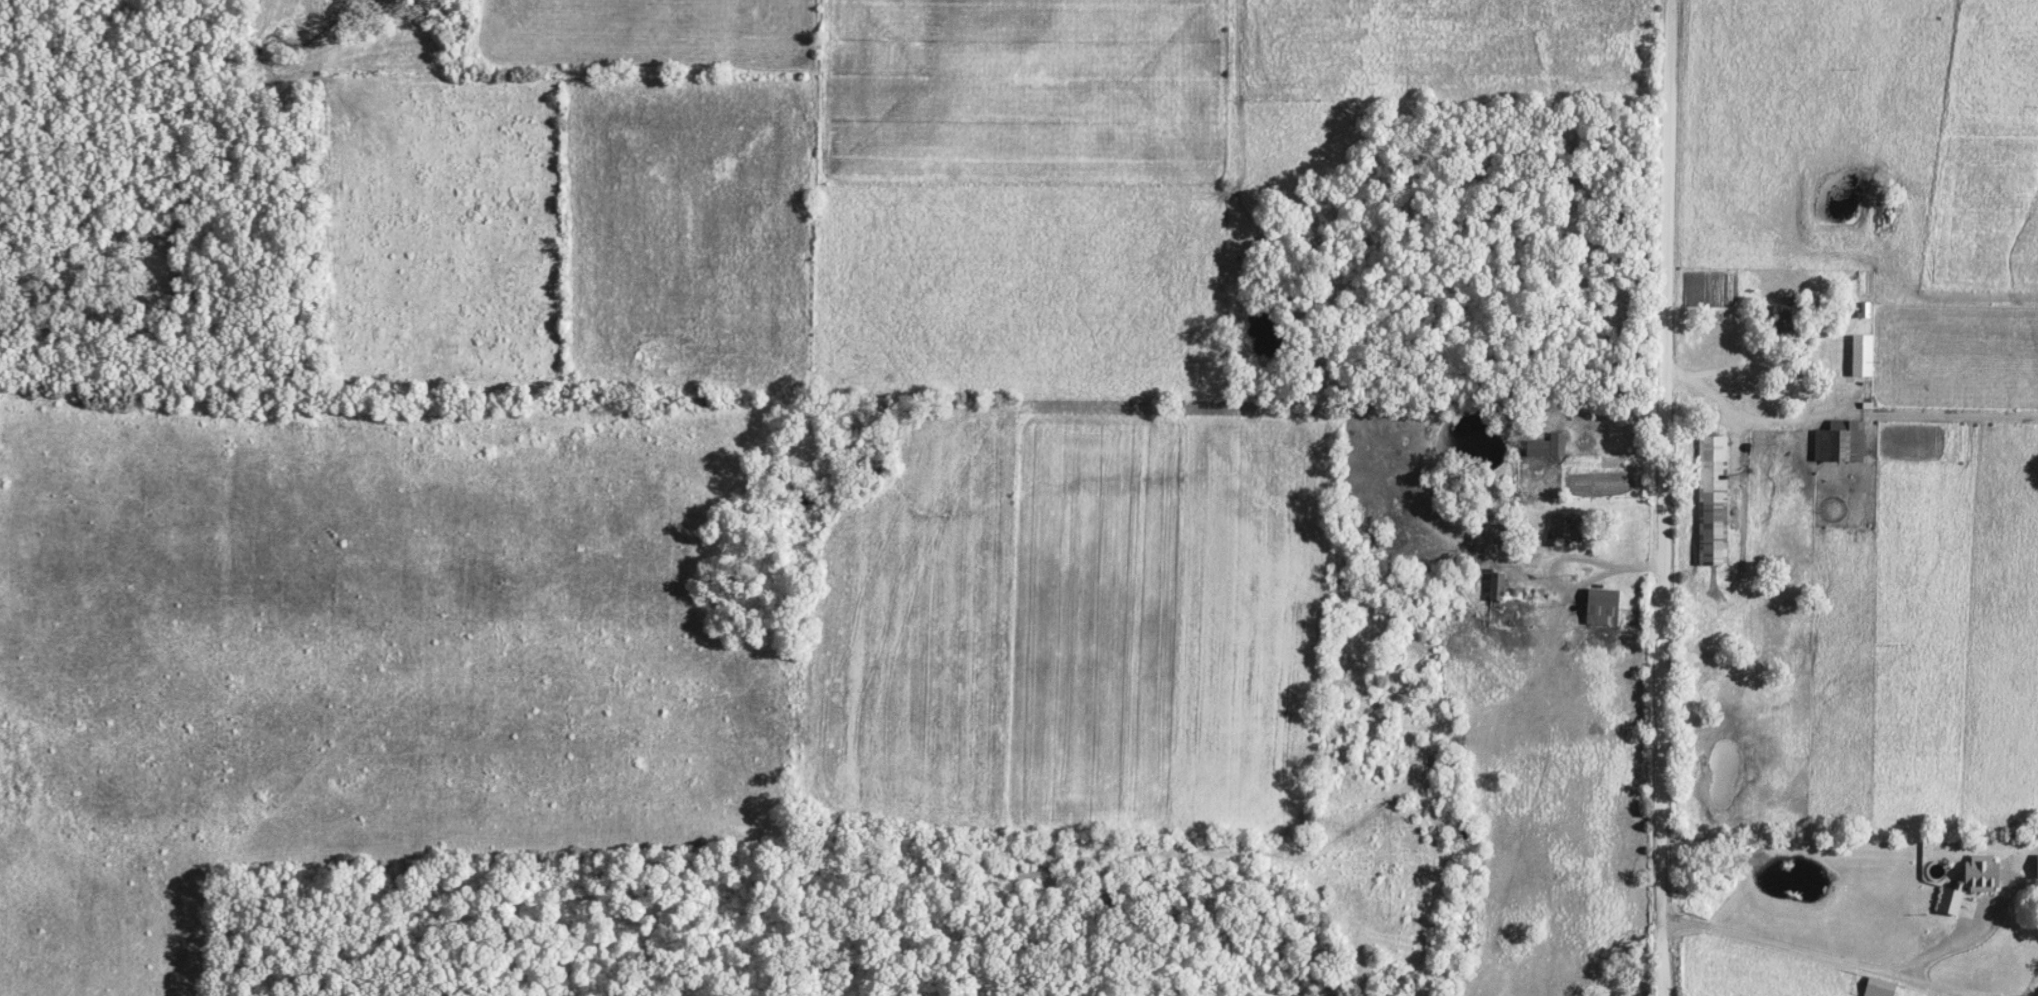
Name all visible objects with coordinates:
building: (1864, 311)
building: (1778, 319)
building: (1860, 356)
road: (1797, 390)
road: (1914, 416)
building: (1838, 443)
building: (1544, 448)
road: (1659, 498)
building: (1710, 500)
building: (1556, 529)
road: (1562, 558)
road: (1633, 569)
building: (1495, 587)
building: (1600, 608)
building: (2035, 868)
building: (1978, 874)
building: (1948, 903)
road: (1806, 956)

